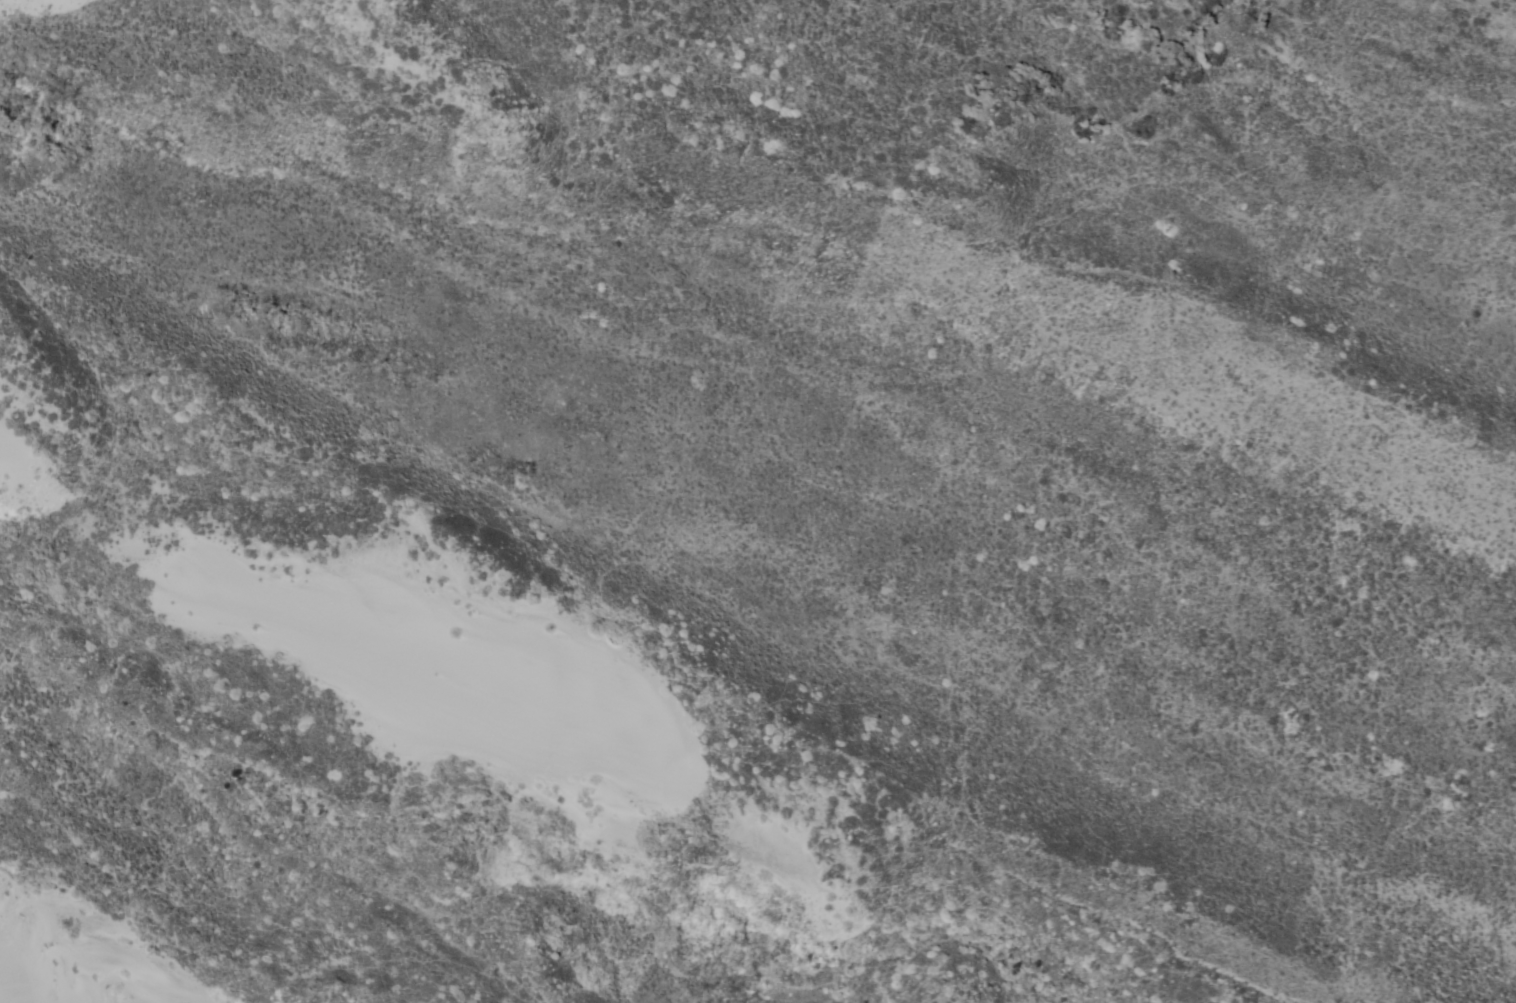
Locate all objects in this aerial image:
park: (758, 501)

